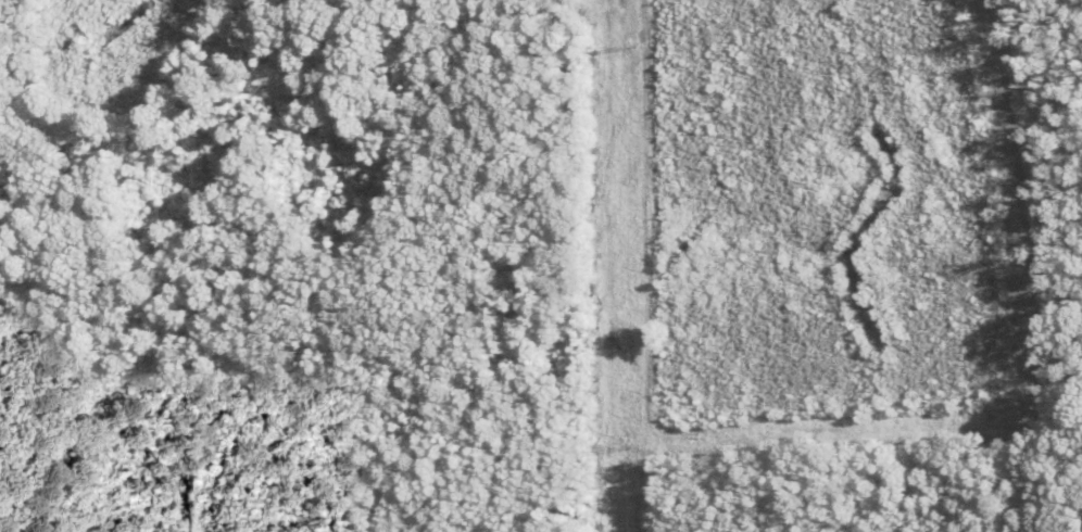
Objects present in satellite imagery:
power tower: (625, 46)
power tower: (621, 446)

